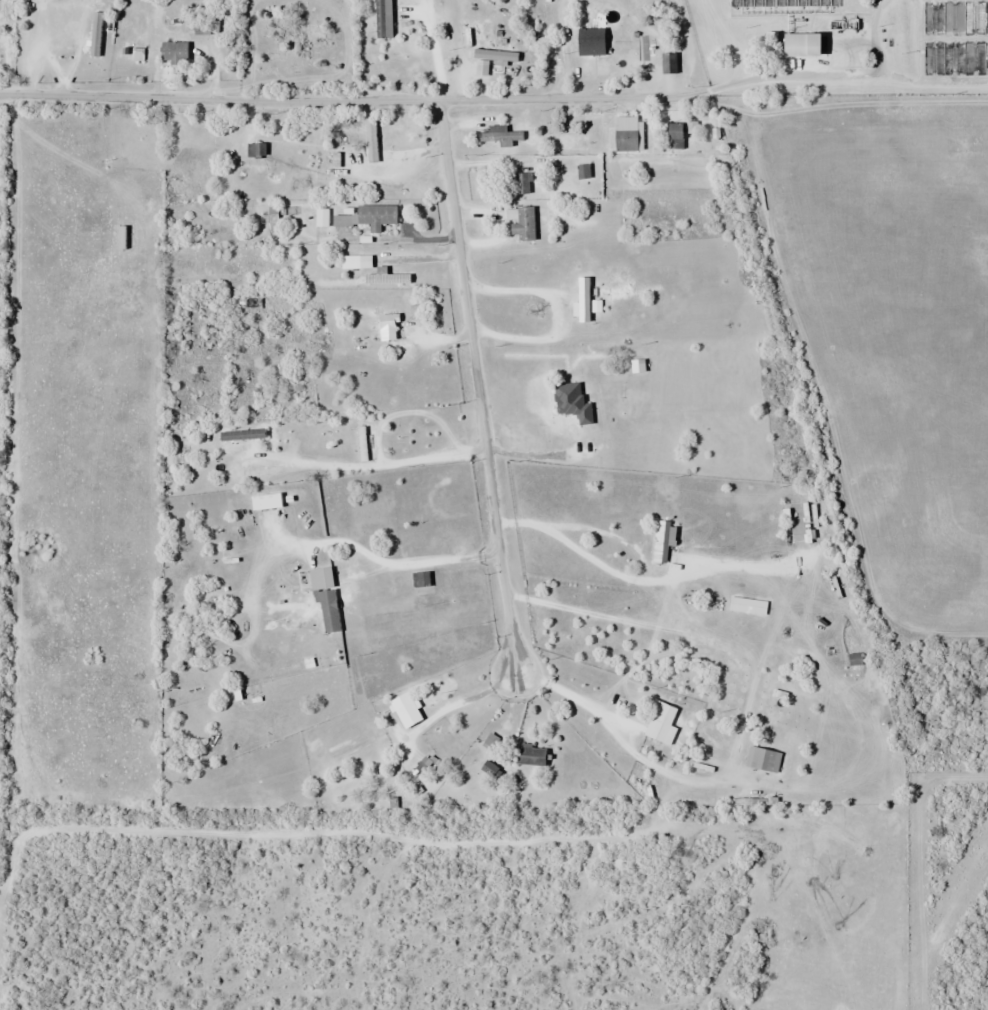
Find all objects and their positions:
building: (129, 11)
building: (382, 19)
building: (200, 26)
building: (638, 40)
building: (799, 44)
park: (297, 45)
wastewater plant: (842, 45)
building: (173, 51)
road: (354, 98)
building: (362, 129)
building: (625, 133)
building: (673, 135)
building: (499, 136)
building: (255, 150)
building: (187, 162)
building: (521, 184)
building: (271, 215)
building: (375, 216)
building: (321, 217)
building: (341, 220)
building: (521, 223)
building: (386, 277)
building: (387, 326)
road: (476, 382)
building: (571, 402)
building: (240, 434)
building: (361, 443)
road: (369, 466)
building: (660, 541)
building: (320, 578)
building: (328, 610)
road: (570, 696)
building: (404, 709)
building: (661, 724)
building: (492, 742)
building: (529, 754)
building: (762, 759)

